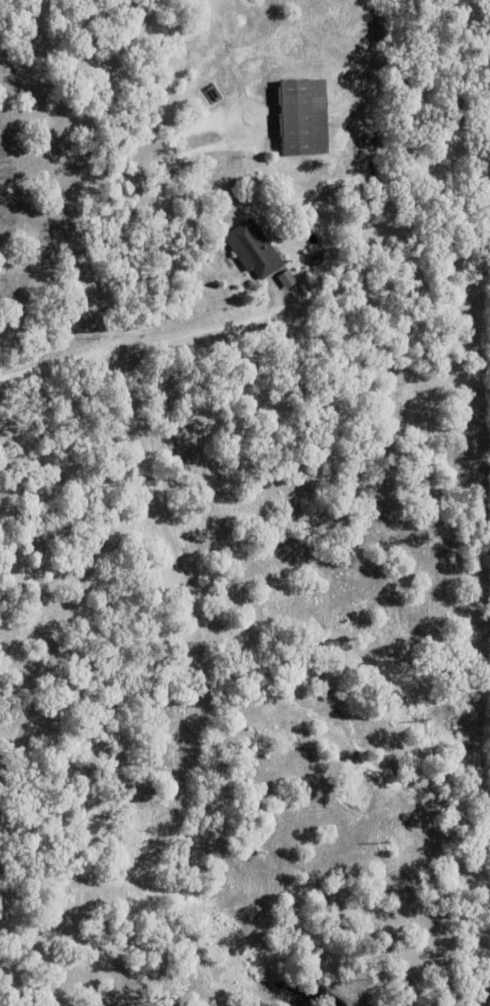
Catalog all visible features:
building: (302, 113)
road: (155, 200)
building: (256, 250)
building: (393, 258)
building: (316, 259)
building: (287, 278)
road: (199, 327)
road: (59, 358)

